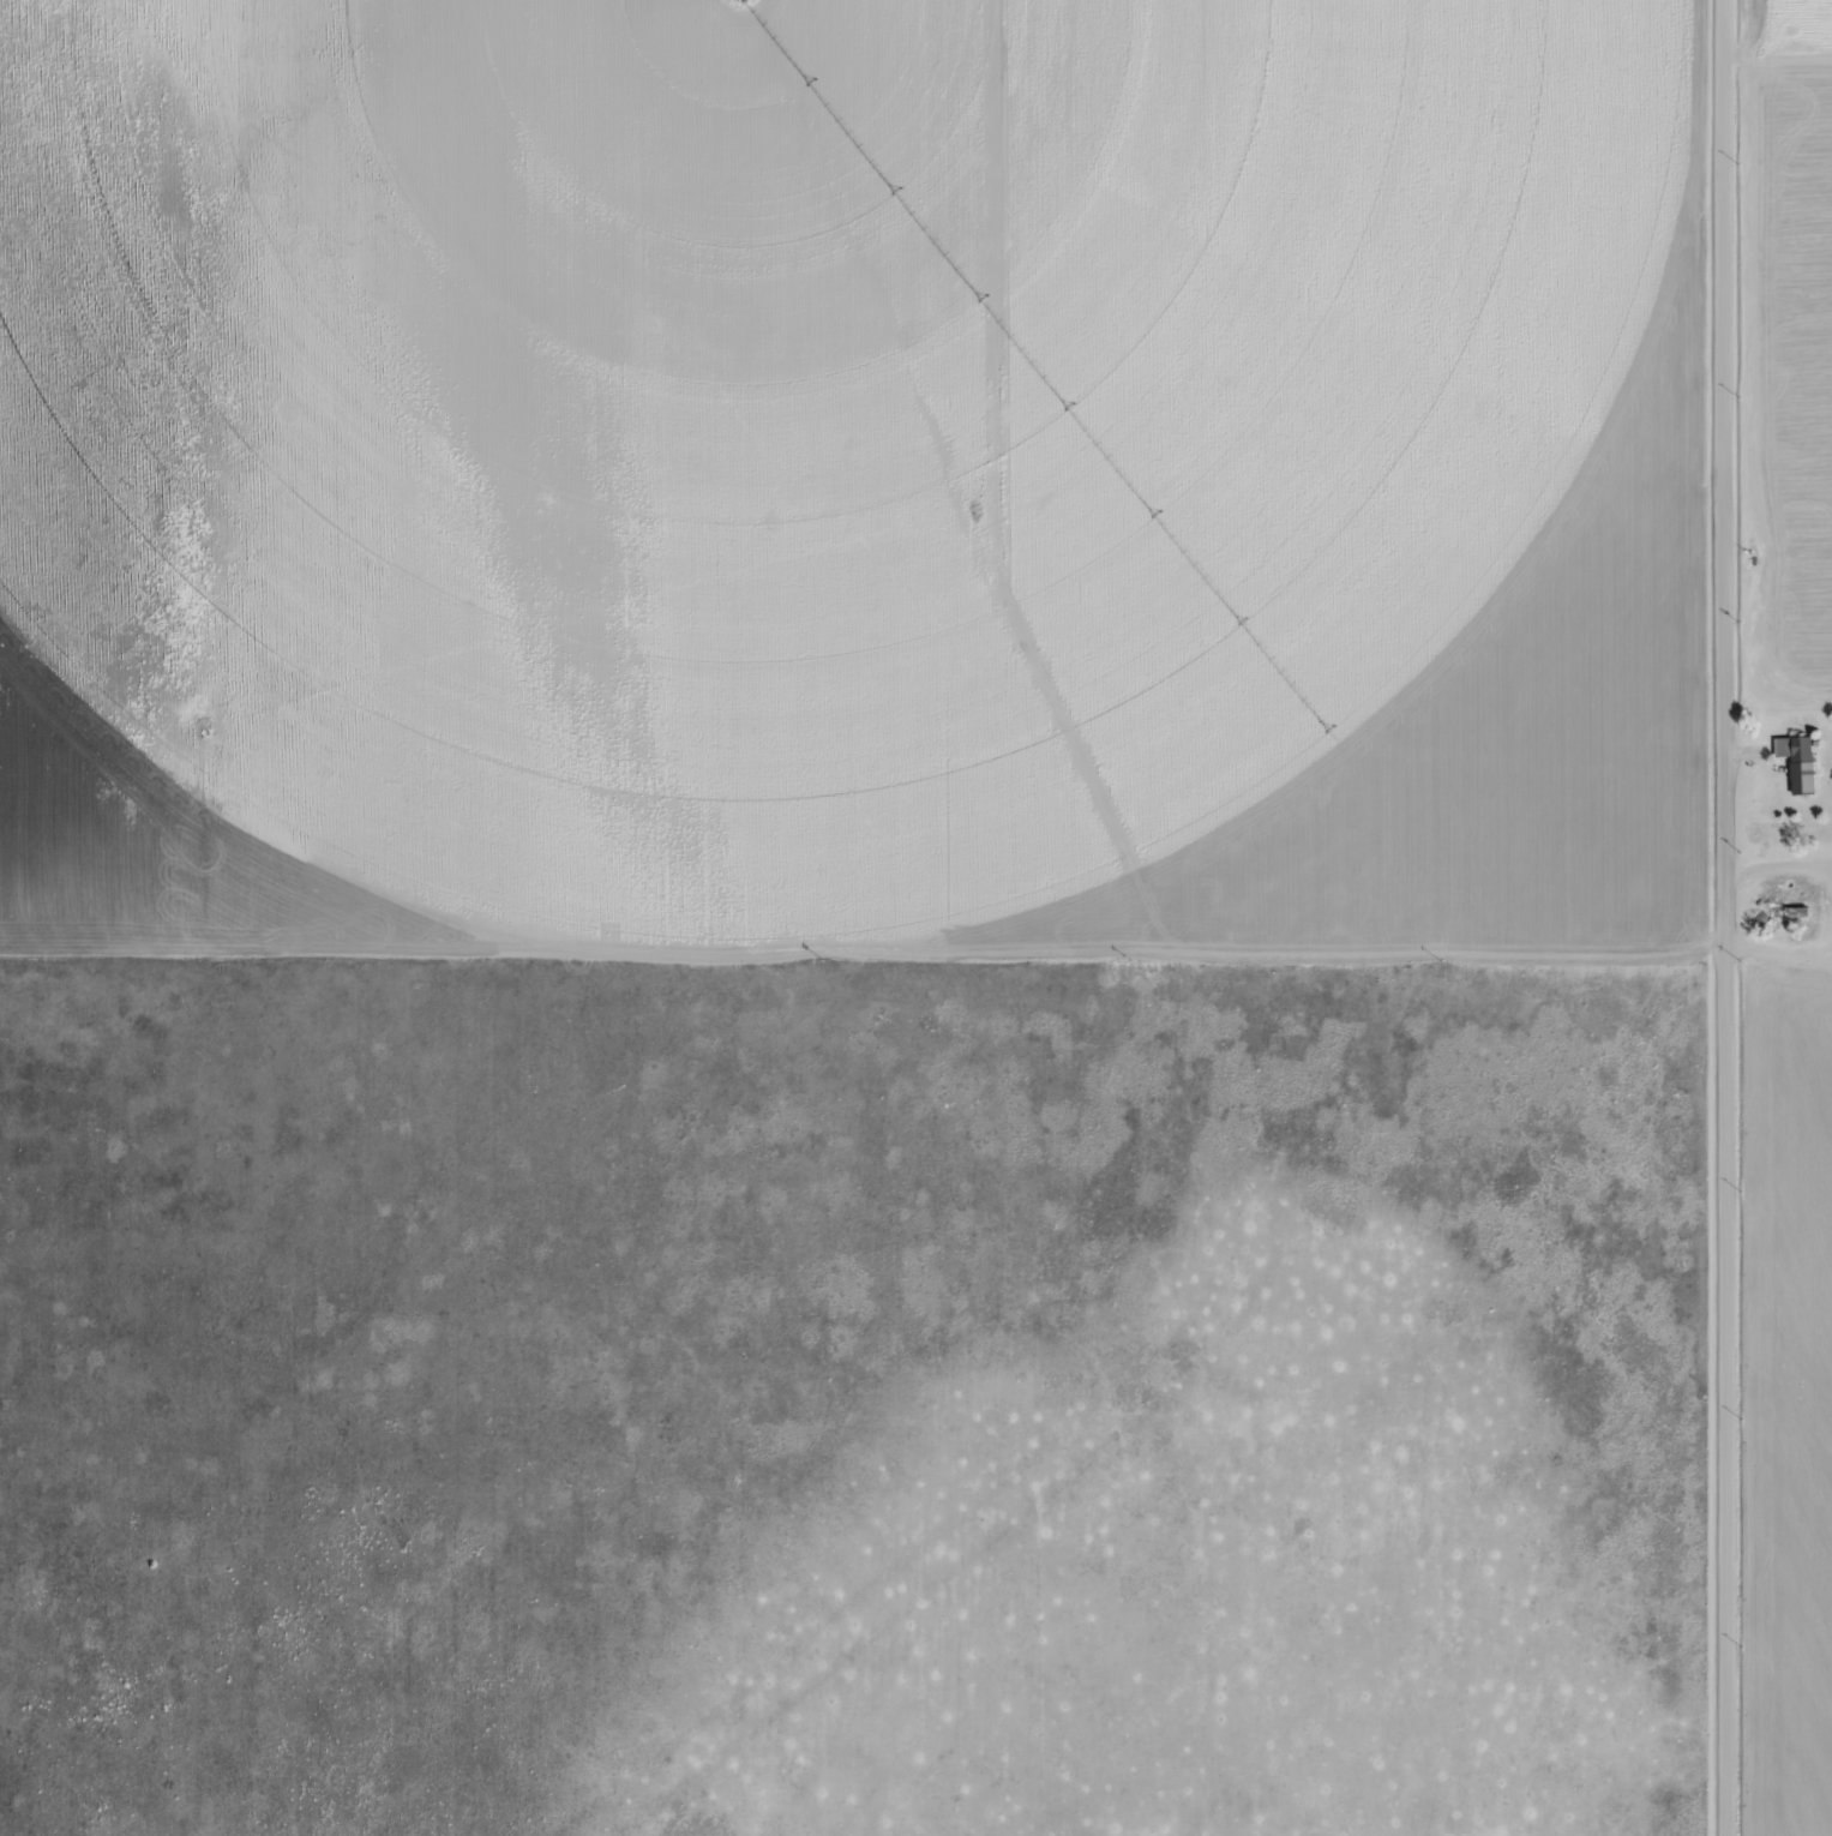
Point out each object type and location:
building: (1800, 762)
road: (1746, 918)
building: (1789, 918)

